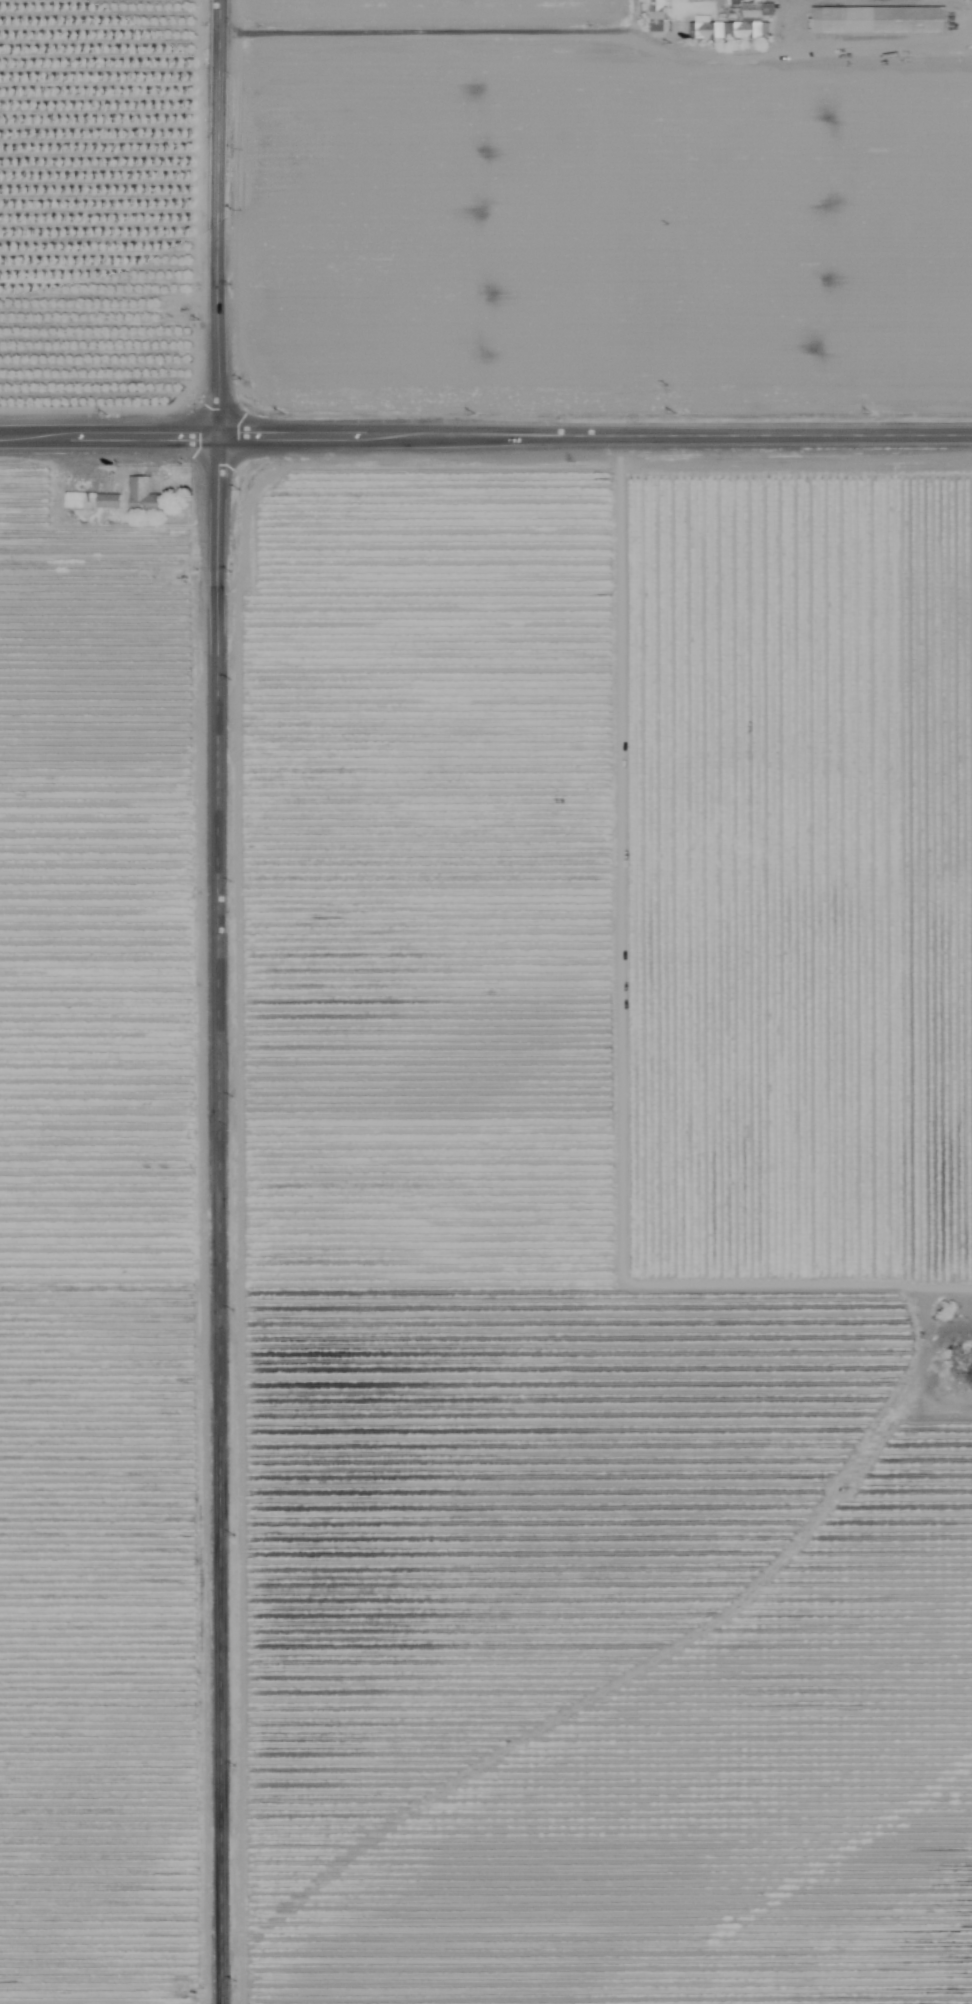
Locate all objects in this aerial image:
building: (654, 16)
building: (874, 21)
building: (729, 26)
road: (420, 38)
road: (798, 47)
road: (485, 436)
building: (136, 479)
building: (147, 501)
road: (219, 1001)

